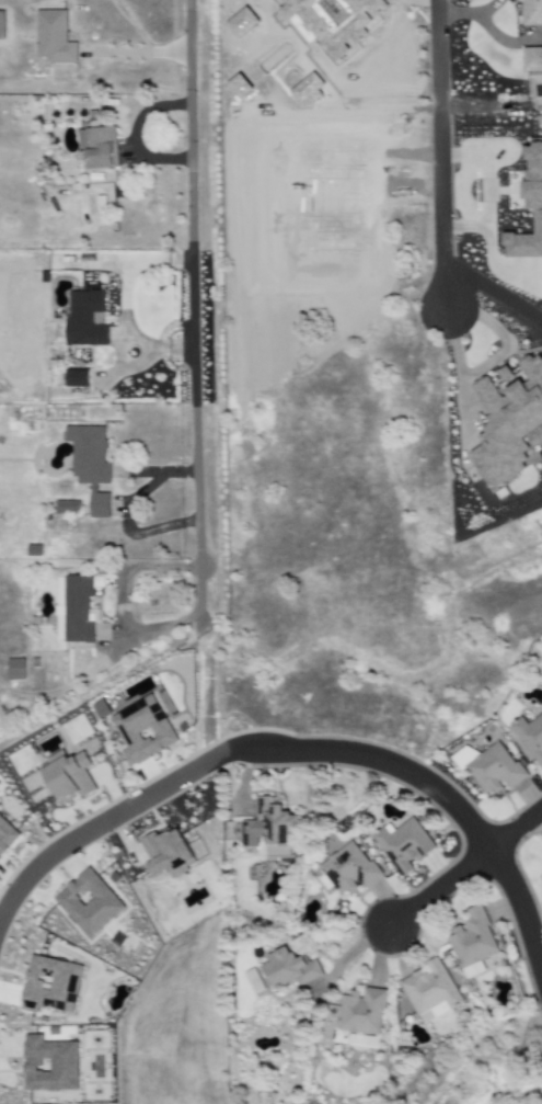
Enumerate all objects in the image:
road: (414, 0)
building: (531, 12)
road: (475, 13)
building: (333, 21)
building: (1, 25)
building: (53, 37)
road: (138, 57)
road: (132, 137)
building: (97, 148)
road: (447, 155)
road: (488, 191)
road: (195, 310)
building: (84, 319)
building: (77, 379)
building: (508, 420)
building: (90, 465)
building: (66, 508)
road: (126, 512)
road: (124, 600)
building: (74, 610)
building: (15, 669)
road: (206, 688)
building: (142, 730)
building: (529, 737)
road: (296, 749)
building: (493, 769)
building: (69, 776)
road: (516, 828)
building: (269, 830)
building: (7, 836)
building: (403, 845)
building: (166, 854)
building: (346, 869)
road: (440, 887)
building: (89, 902)
building: (472, 938)
building: (289, 969)
building: (473, 970)
building: (50, 986)
building: (430, 991)
building: (361, 1012)
building: (49, 1065)

